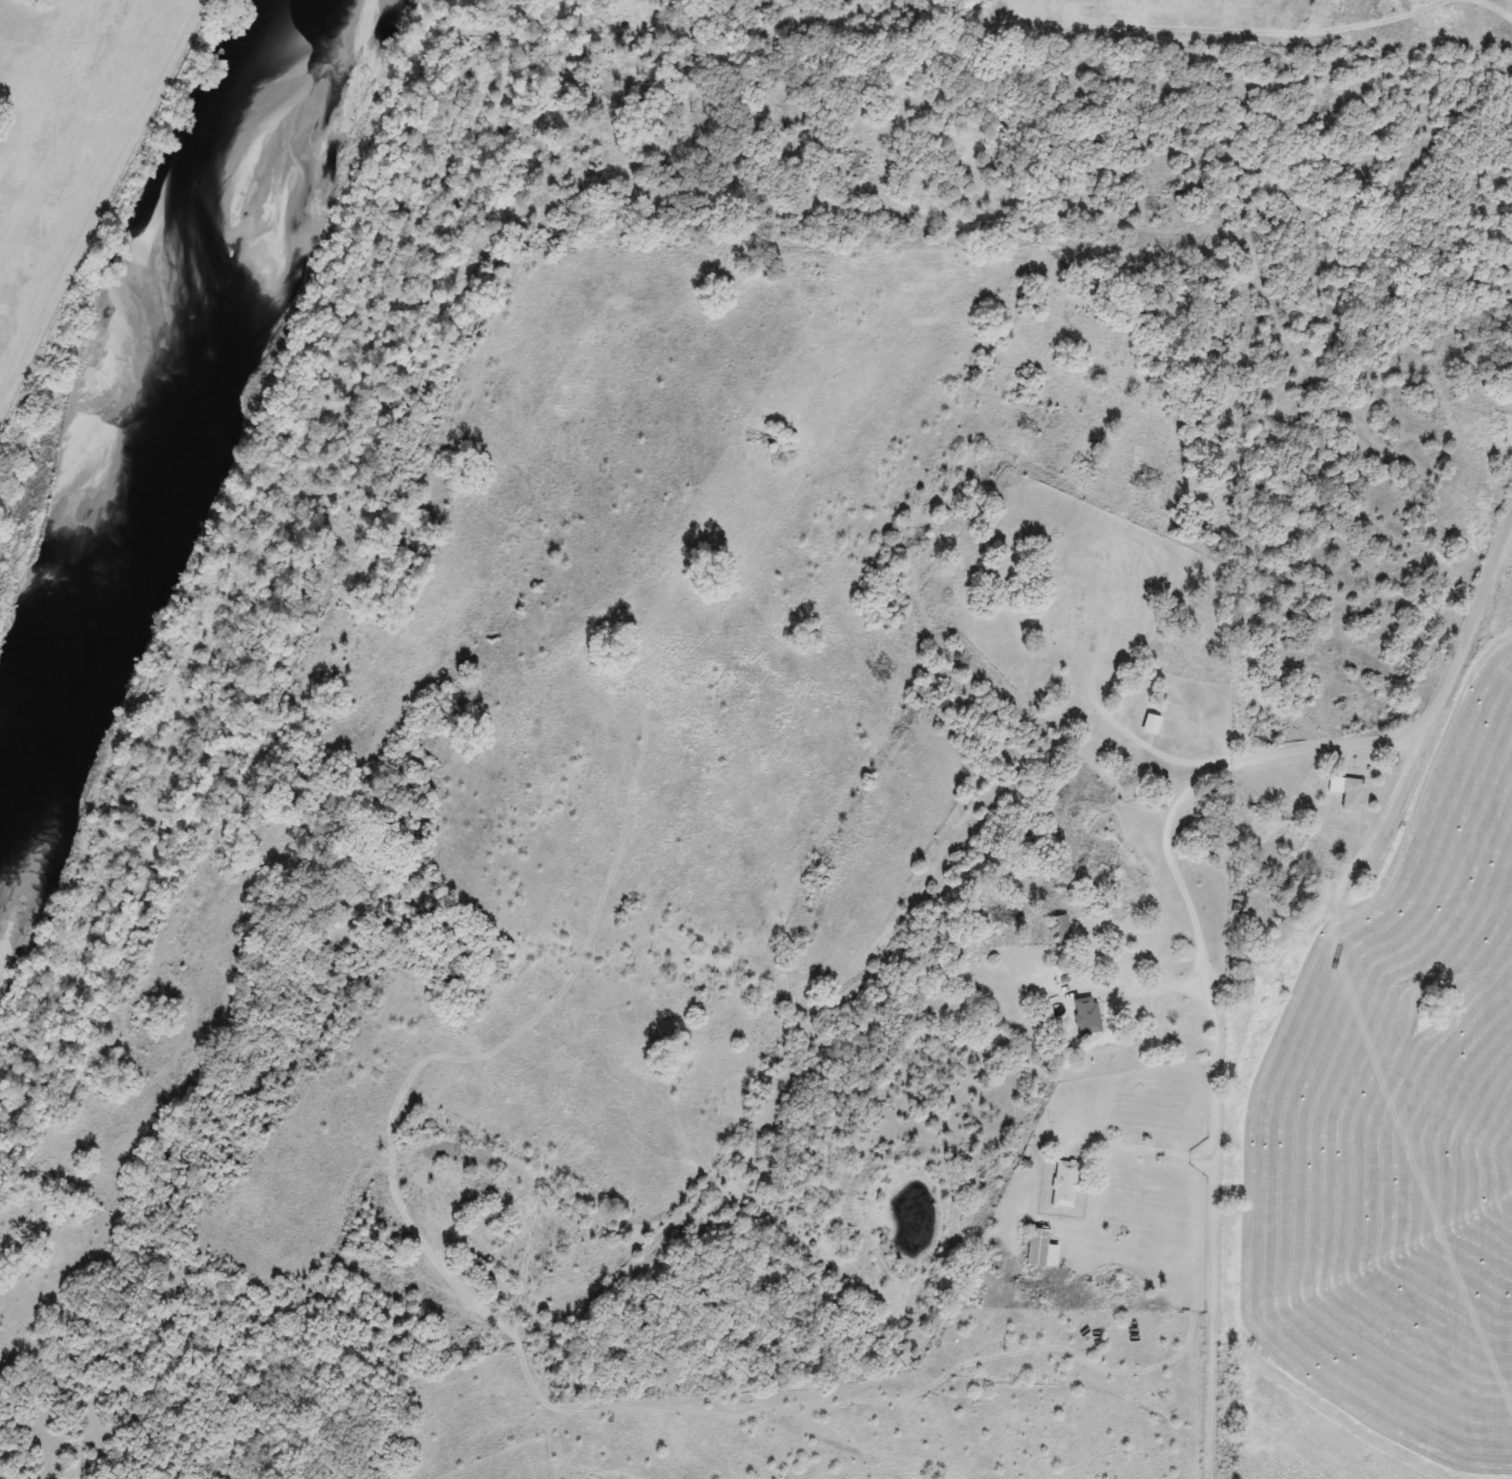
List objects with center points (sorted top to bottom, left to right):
river: (160, 393)
park: (1101, 630)
building: (1151, 724)
road: (1237, 765)
building: (1350, 794)
building: (1061, 932)
road: (1152, 989)
building: (1086, 1016)
road: (1144, 1150)
building: (1065, 1185)
building: (1041, 1249)

